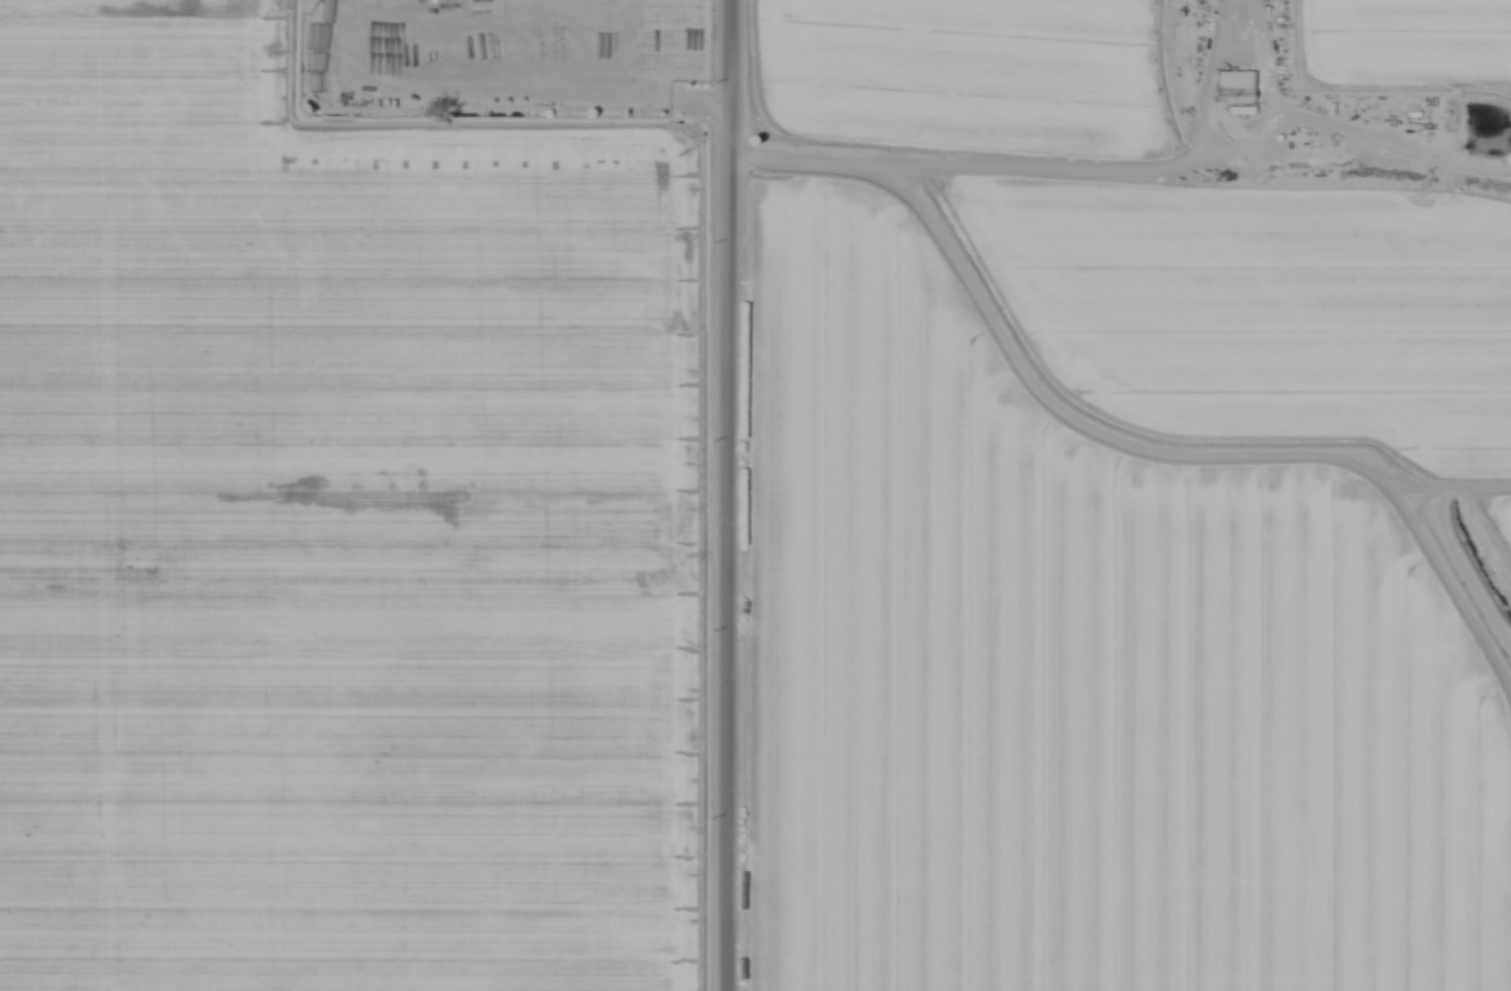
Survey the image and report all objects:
building: (322, 35)
building: (1236, 86)
road: (745, 495)

